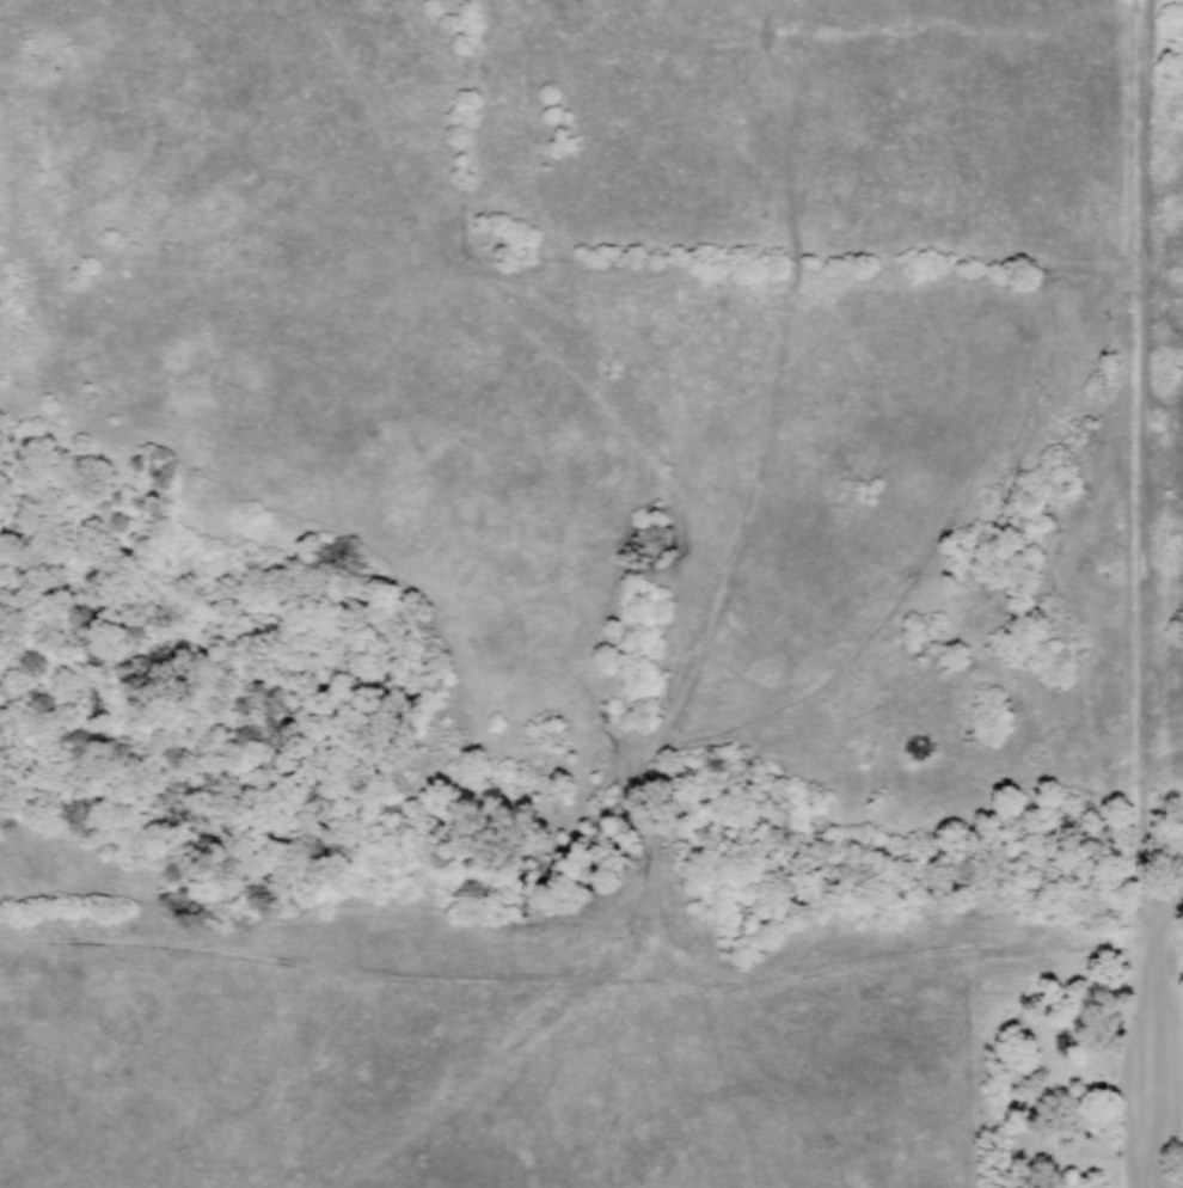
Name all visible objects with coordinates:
road: (1152, 463)
road: (1165, 911)
park: (1092, 993)
road: (1147, 1057)

